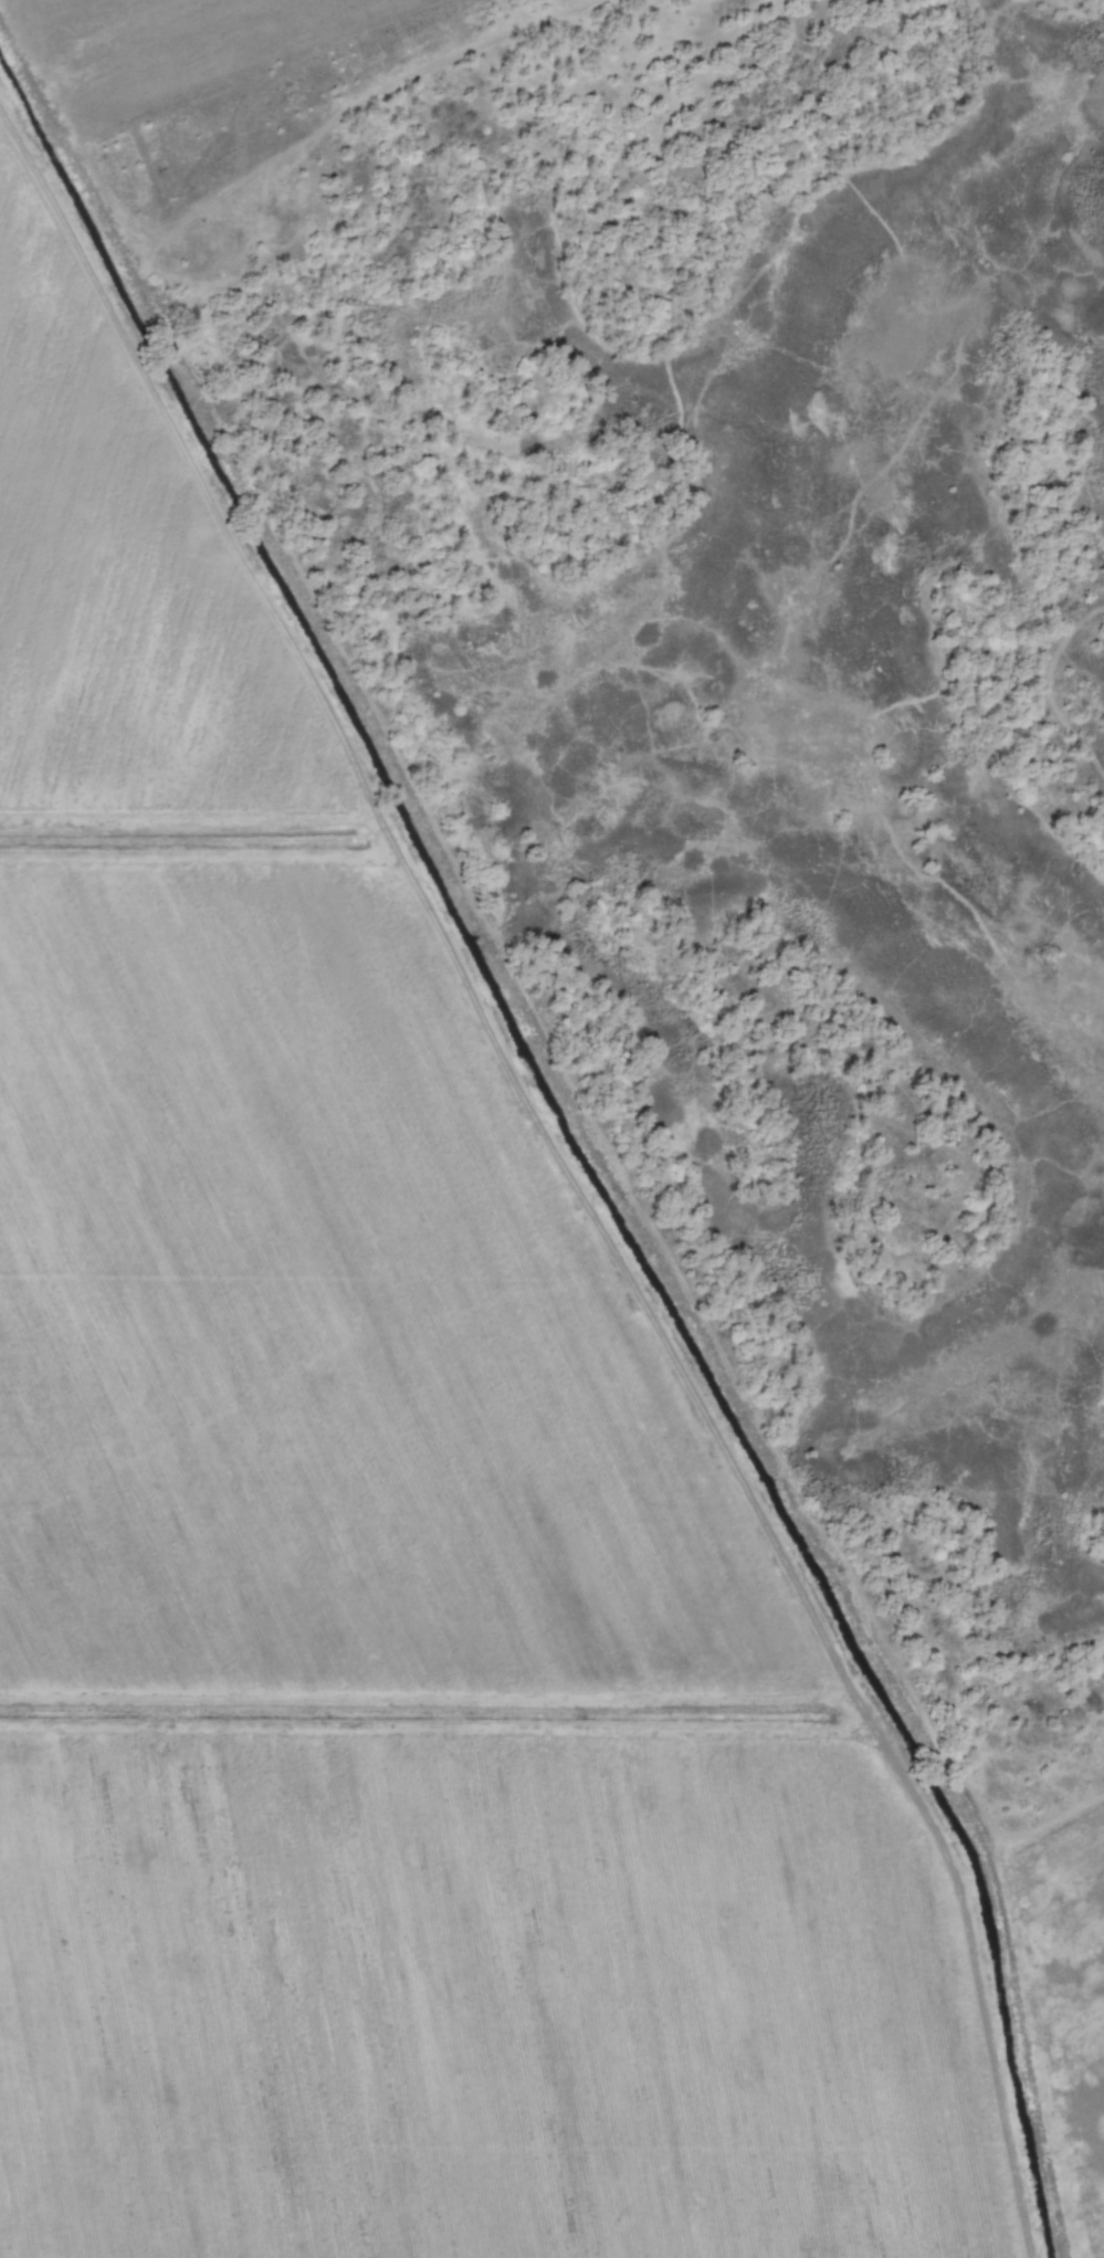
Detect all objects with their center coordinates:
road: (380, 97)
road: (612, 1268)
crop: (403, 1555)

